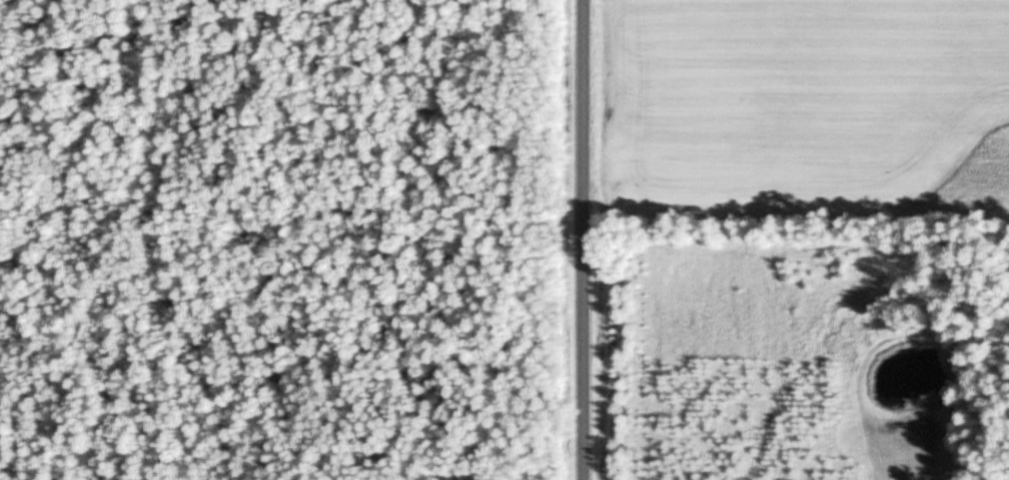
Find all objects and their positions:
road: (585, 240)

